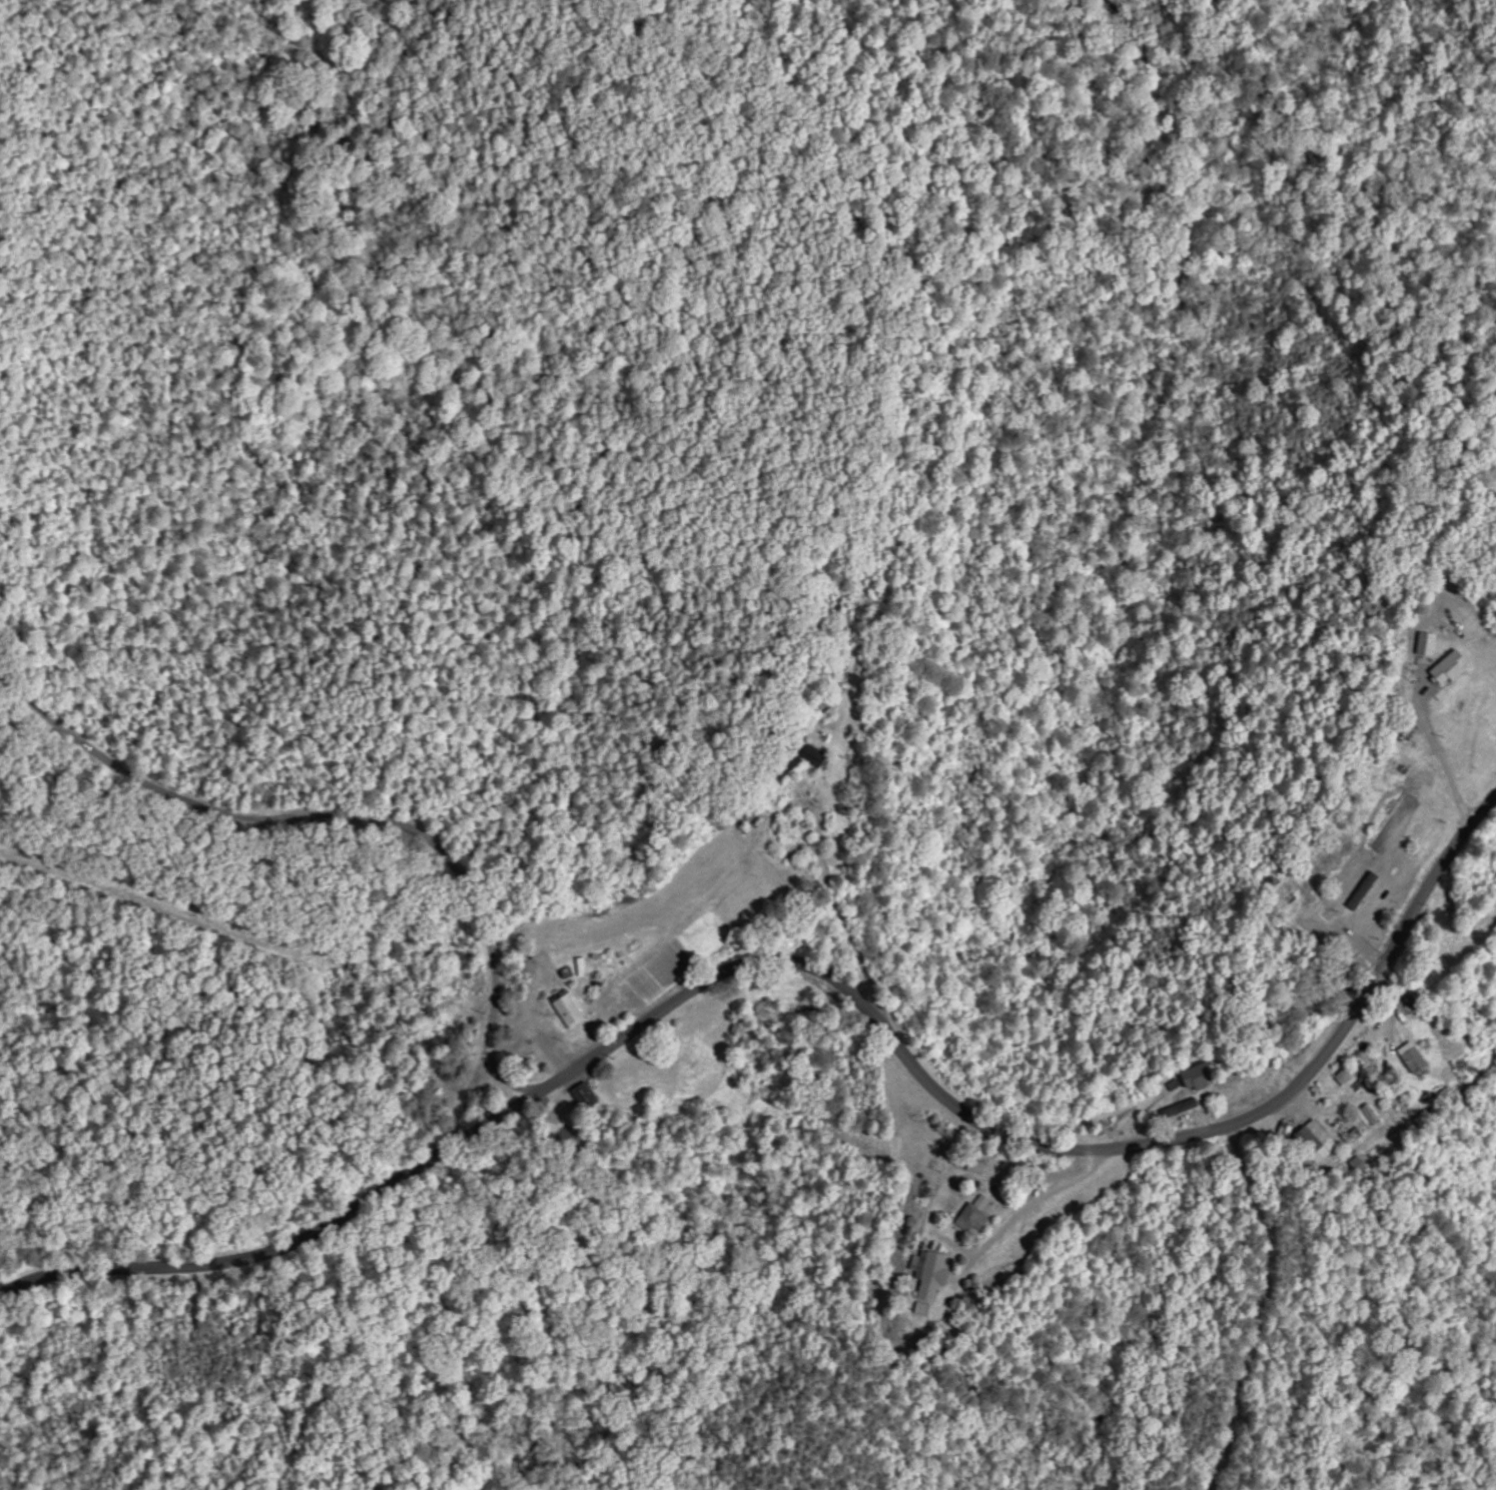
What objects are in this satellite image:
building: (1425, 646)
building: (1447, 669)
road: (363, 820)
road: (818, 972)
building: (574, 1011)
building: (1412, 1059)
road: (1207, 1066)
building: (1344, 1078)
building: (1195, 1079)
road: (502, 1081)
building: (1175, 1086)
building: (593, 1098)
building: (1180, 1109)
building: (1313, 1142)
building: (1359, 1167)
road: (80, 1170)
building: (980, 1216)
building: (936, 1275)
road: (1265, 1307)
building: (927, 1310)

